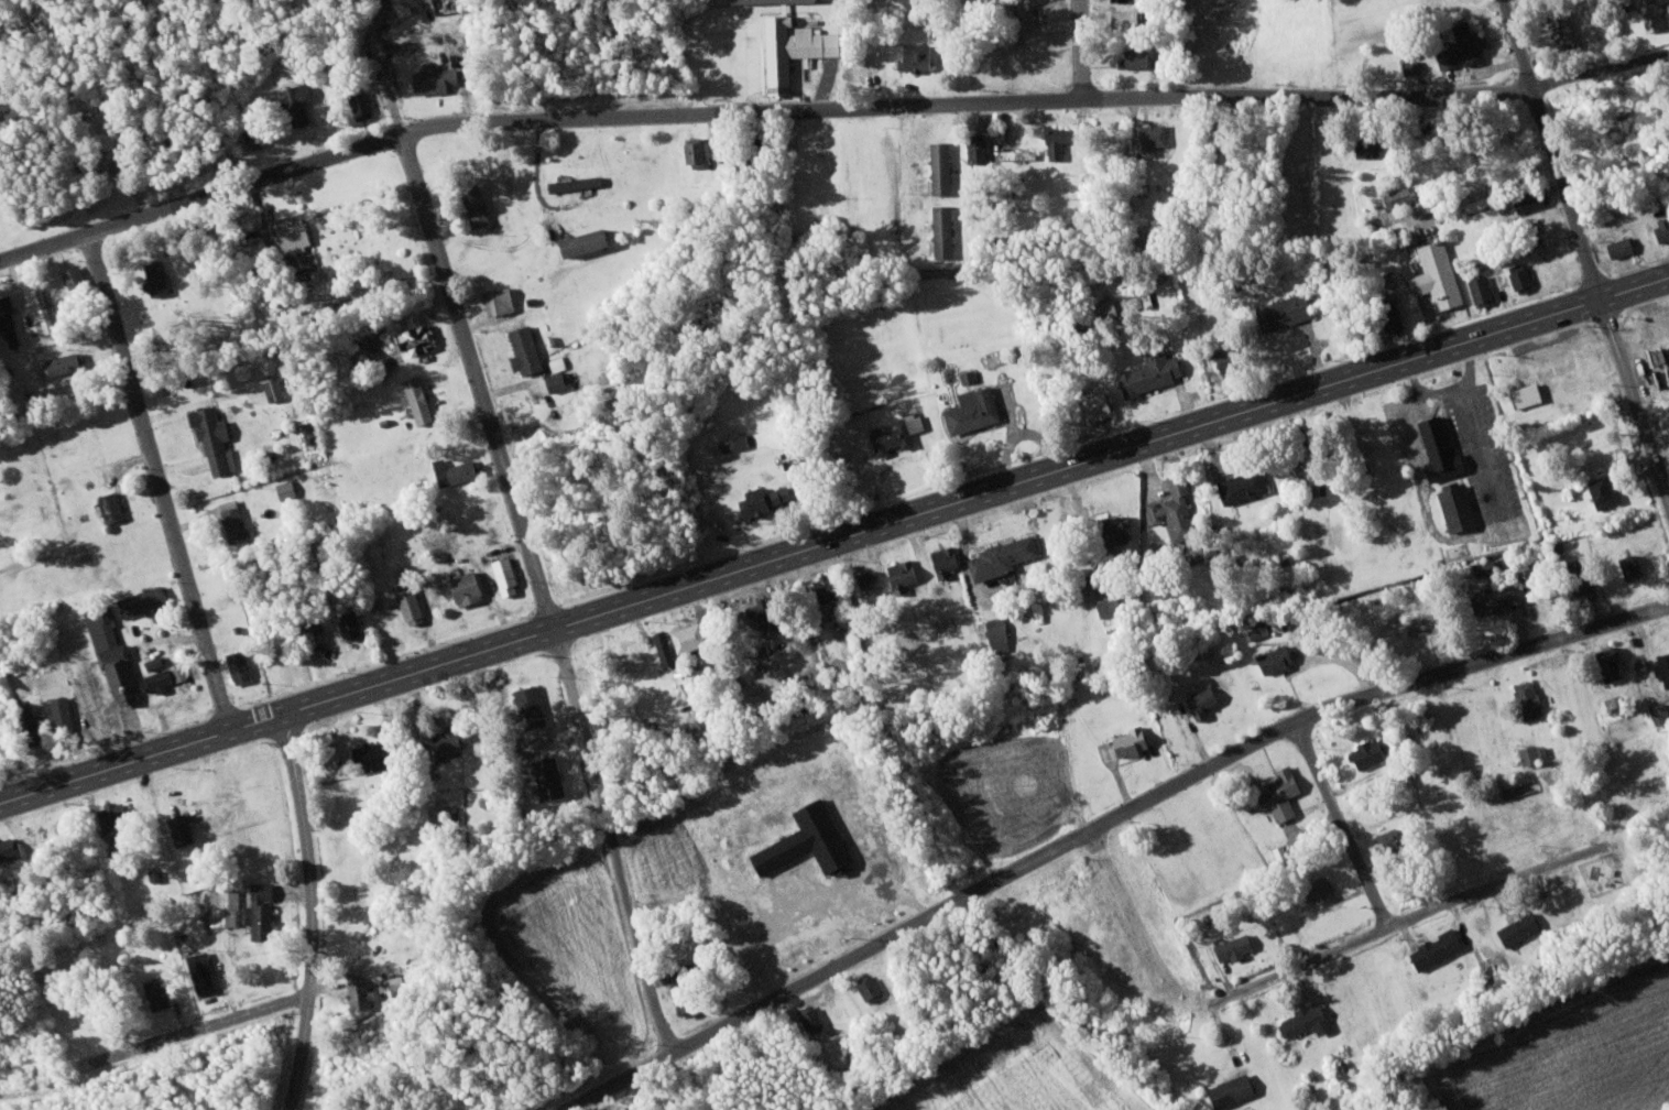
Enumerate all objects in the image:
building: (759, 1)
building: (1621, 4)
building: (1648, 14)
building: (1562, 33)
building: (1460, 45)
building: (788, 48)
road: (1083, 48)
building: (912, 56)
building: (1130, 58)
building: (1407, 66)
road: (385, 70)
building: (439, 78)
building: (301, 100)
building: (364, 104)
road: (826, 108)
building: (258, 132)
building: (1150, 137)
building: (1052, 143)
building: (1364, 148)
road: (1552, 149)
building: (691, 151)
building: (973, 151)
building: (1017, 153)
building: (937, 167)
building: (580, 182)
building: (1528, 203)
building: (481, 209)
building: (1661, 227)
building: (940, 231)
building: (298, 236)
building: (592, 242)
building: (1617, 247)
building: (1435, 275)
building: (1518, 276)
building: (161, 277)
building: (80, 282)
building: (1479, 287)
building: (502, 298)
building: (45, 309)
building: (1279, 312)
building: (1388, 315)
building: (11, 319)
building: (419, 337)
building: (528, 348)
building: (68, 362)
building: (1147, 373)
building: (967, 376)
building: (558, 380)
road: (479, 381)
building: (277, 388)
building: (1523, 395)
building: (423, 398)
road: (1636, 399)
road: (200, 402)
building: (1093, 406)
building: (970, 410)
building: (893, 433)
building: (218, 437)
building: (739, 440)
building: (1437, 450)
building: (794, 457)
building: (459, 470)
road: (159, 481)
building: (1241, 487)
building: (291, 488)
building: (1601, 491)
building: (768, 497)
building: (114, 505)
building: (1171, 508)
building: (1455, 508)
building: (239, 522)
building: (1112, 529)
road: (833, 540)
building: (997, 557)
building: (943, 561)
building: (1628, 566)
building: (510, 574)
building: (904, 575)
building: (873, 577)
building: (833, 585)
building: (472, 586)
building: (1579, 588)
building: (1494, 596)
building: (148, 599)
building: (414, 605)
building: (1105, 606)
building: (1416, 620)
building: (354, 624)
building: (320, 633)
building: (996, 634)
building: (692, 636)
building: (668, 645)
building: (118, 657)
building: (1273, 657)
building: (159, 661)
building: (1607, 661)
building: (243, 665)
building: (1661, 666)
building: (168, 676)
building: (1527, 698)
building: (533, 700)
building: (1197, 700)
building: (66, 710)
building: (1658, 711)
building: (3, 732)
building: (455, 740)
building: (1126, 741)
building: (1367, 751)
building: (1531, 751)
building: (380, 752)
building: (554, 776)
building: (1278, 792)
building: (119, 812)
road: (1103, 825)
building: (186, 827)
building: (814, 840)
road: (611, 841)
building: (11, 847)
building: (1316, 888)
building: (229, 902)
road: (1378, 906)
building: (265, 910)
road: (313, 911)
building: (1516, 927)
building: (1232, 946)
building: (1432, 948)
road: (1306, 965)
building: (206, 971)
building: (873, 987)
building: (687, 988)
building: (162, 992)
building: (364, 992)
building: (816, 1016)
building: (1302, 1020)
road: (203, 1029)
building: (1230, 1089)

